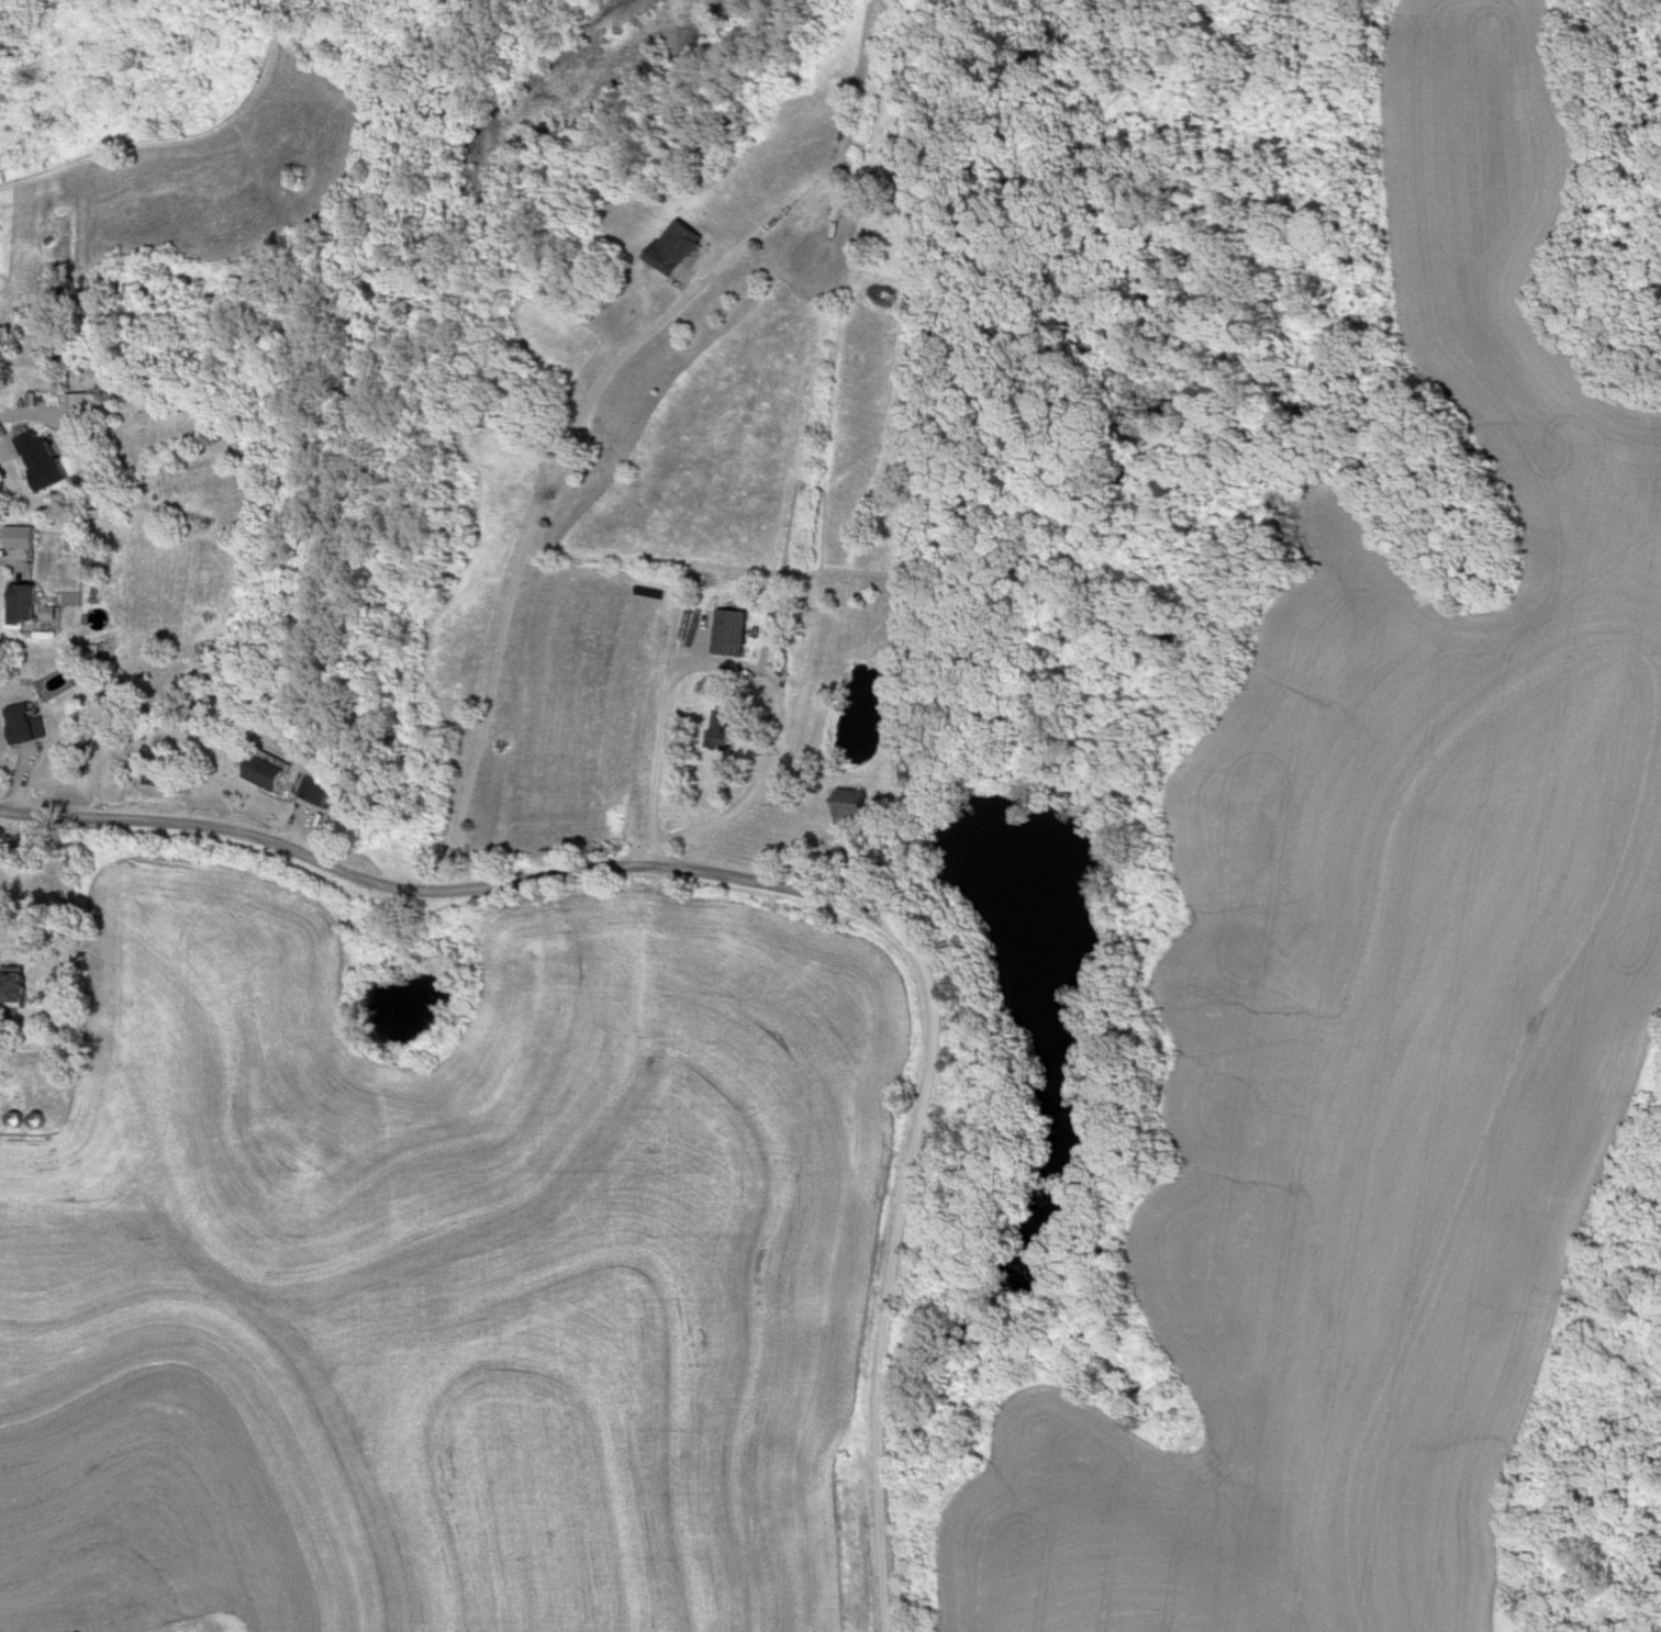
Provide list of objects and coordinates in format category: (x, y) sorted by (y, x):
road: (214, 139)
road: (33, 176)
building: (676, 247)
building: (38, 462)
building: (21, 536)
road: (526, 572)
building: (21, 602)
building: (728, 631)
building: (24, 724)
building: (723, 729)
building: (264, 772)
building: (315, 791)
road: (751, 798)
building: (852, 808)
road: (794, 895)
building: (14, 988)
building: (18, 1119)
building: (41, 1119)

